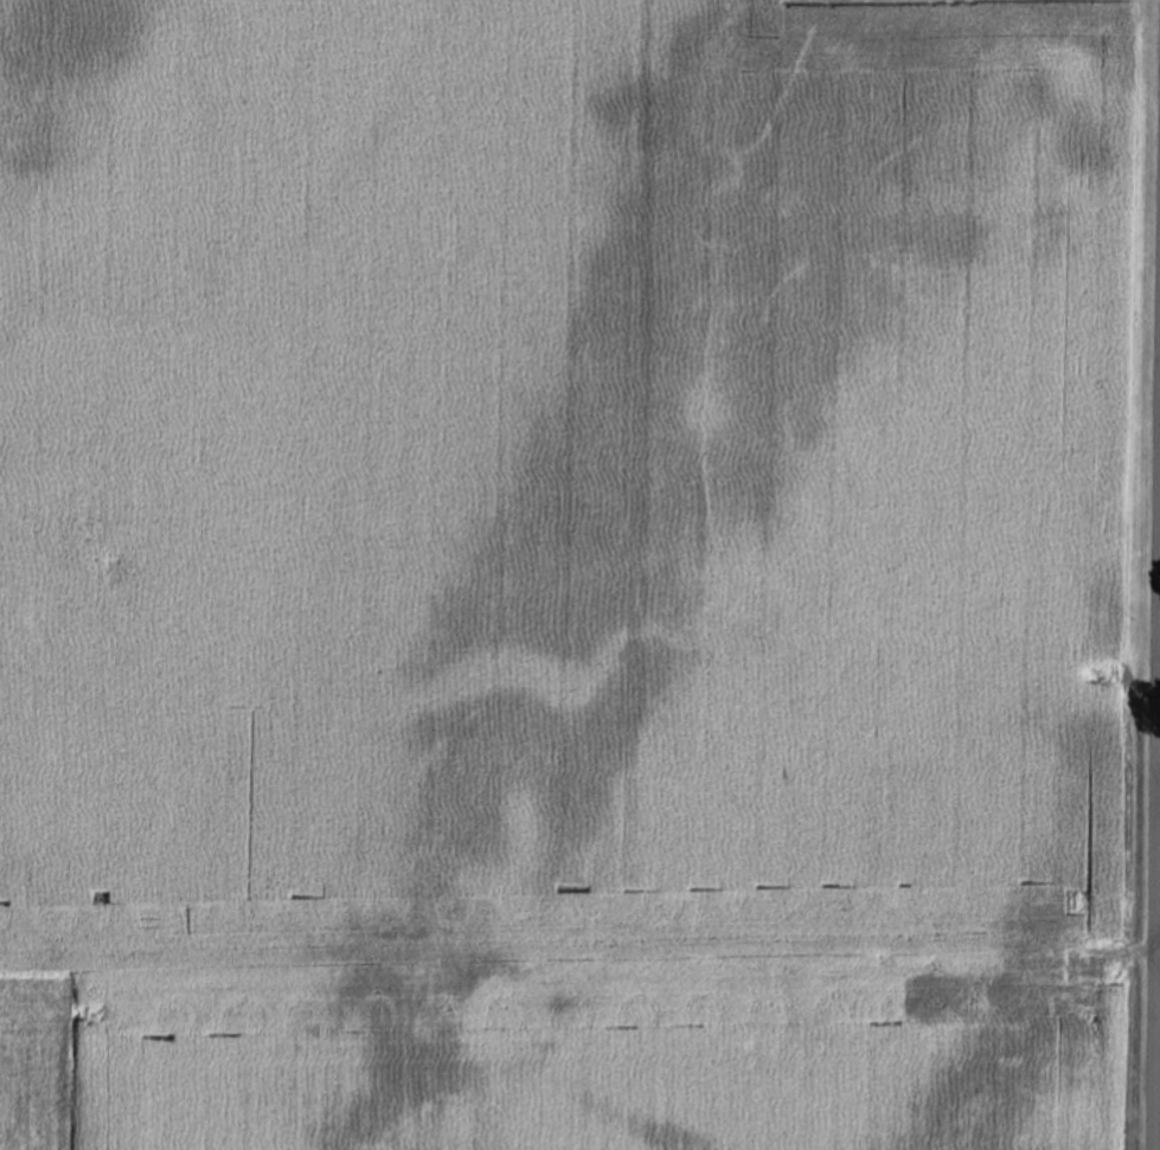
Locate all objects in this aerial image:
road: (1158, 882)

